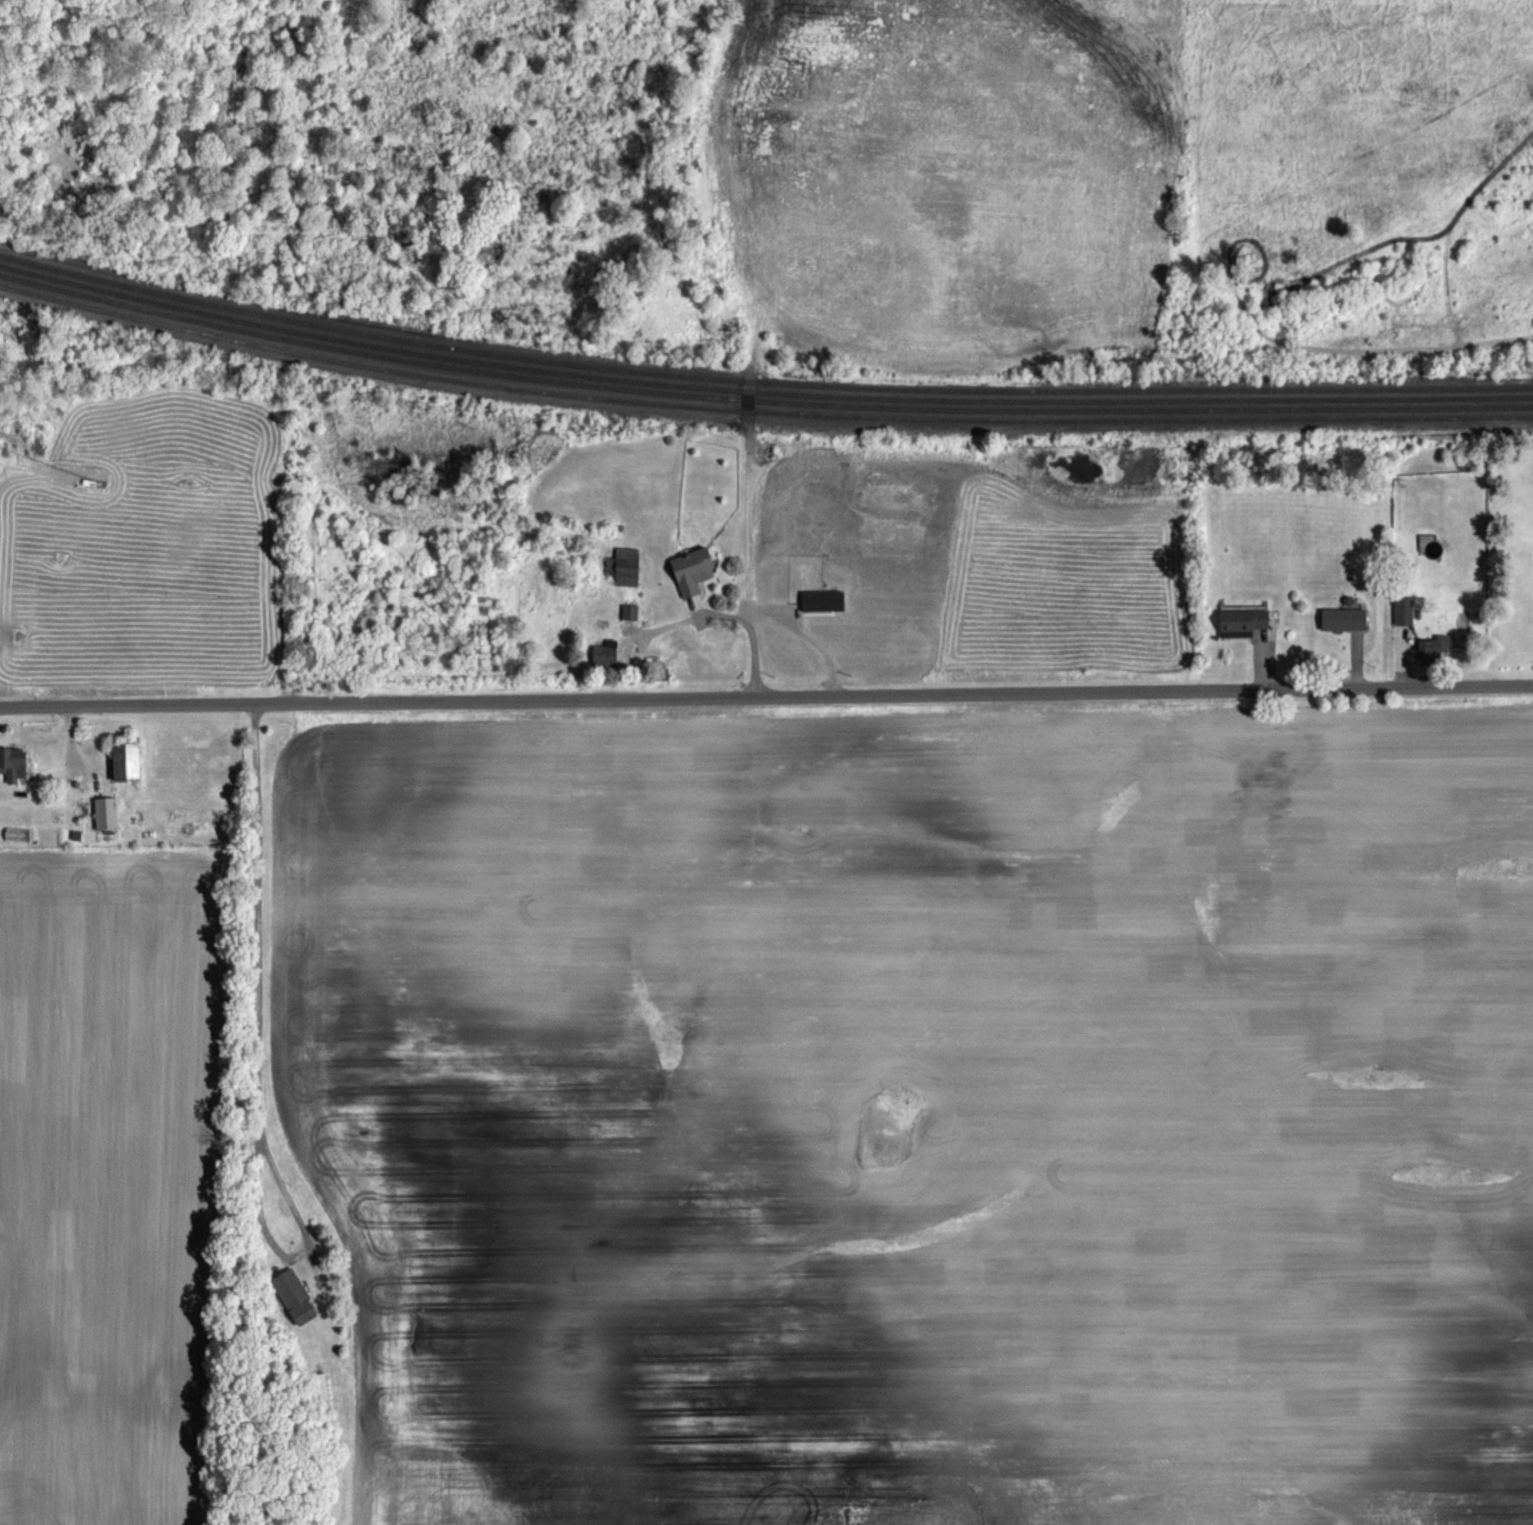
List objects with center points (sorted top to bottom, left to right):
railway: (760, 385)
railway: (760, 393)
railway: (760, 402)
railway: (760, 413)
building: (623, 568)
building: (691, 572)
building: (1364, 573)
road: (750, 577)
building: (1403, 611)
building: (629, 613)
building: (1342, 620)
road: (690, 622)
building: (1241, 622)
building: (1433, 651)
building: (604, 654)
road: (1355, 688)
road: (588, 700)
building: (124, 764)
building: (12, 765)
building: (98, 815)
road: (257, 1054)
building: (294, 1297)

